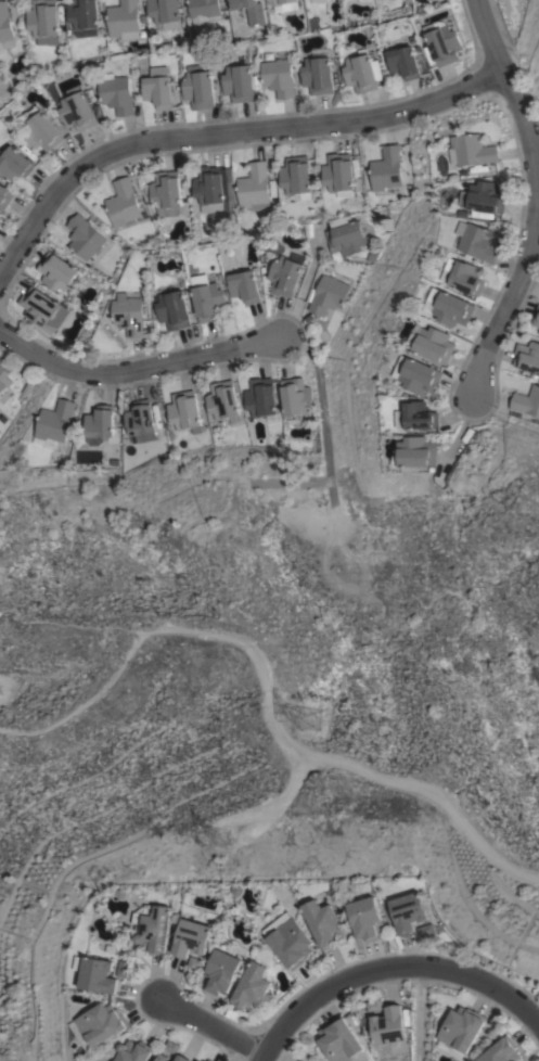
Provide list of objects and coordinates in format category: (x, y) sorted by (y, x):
building: (279, 1)
building: (318, 1)
building: (203, 8)
building: (251, 11)
building: (164, 14)
building: (84, 17)
building: (124, 20)
building: (44, 21)
building: (4, 23)
building: (444, 42)
building: (405, 62)
building: (362, 73)
building: (318, 75)
building: (279, 77)
building: (239, 82)
building: (198, 89)
building: (157, 90)
building: (116, 93)
building: (78, 108)
building: (41, 129)
road: (222, 133)
building: (472, 150)
building: (15, 163)
building: (386, 168)
road: (538, 168)
building: (295, 175)
building: (338, 175)
building: (254, 187)
building: (214, 189)
building: (165, 191)
building: (5, 196)
building: (485, 196)
road: (534, 199)
building: (123, 203)
building: (345, 235)
building: (84, 237)
building: (477, 241)
building: (56, 271)
building: (285, 274)
building: (465, 276)
building: (245, 286)
building: (328, 294)
building: (208, 298)
building: (39, 306)
building: (451, 307)
building: (174, 309)
building: (130, 316)
building: (536, 317)
building: (538, 332)
building: (433, 344)
building: (527, 356)
road: (138, 369)
building: (421, 375)
building: (4, 379)
building: (295, 397)
building: (261, 398)
building: (222, 399)
building: (526, 401)
building: (184, 411)
building: (418, 416)
building: (140, 418)
building: (55, 421)
building: (99, 424)
building: (416, 451)
power tower: (310, 724)
power tower: (226, 838)
building: (407, 911)
building: (364, 918)
building: (323, 922)
building: (153, 928)
building: (424, 929)
building: (192, 937)
building: (288, 938)
building: (125, 968)
building: (221, 972)
building: (98, 974)
road: (387, 975)
building: (252, 988)
building: (375, 1005)
road: (419, 1018)
road: (208, 1021)
building: (101, 1024)
building: (389, 1025)
building: (460, 1031)
building: (338, 1040)
building: (134, 1051)
building: (501, 1051)
building: (164, 1058)
building: (183, 1058)
building: (201, 1059)
building: (209, 1060)

